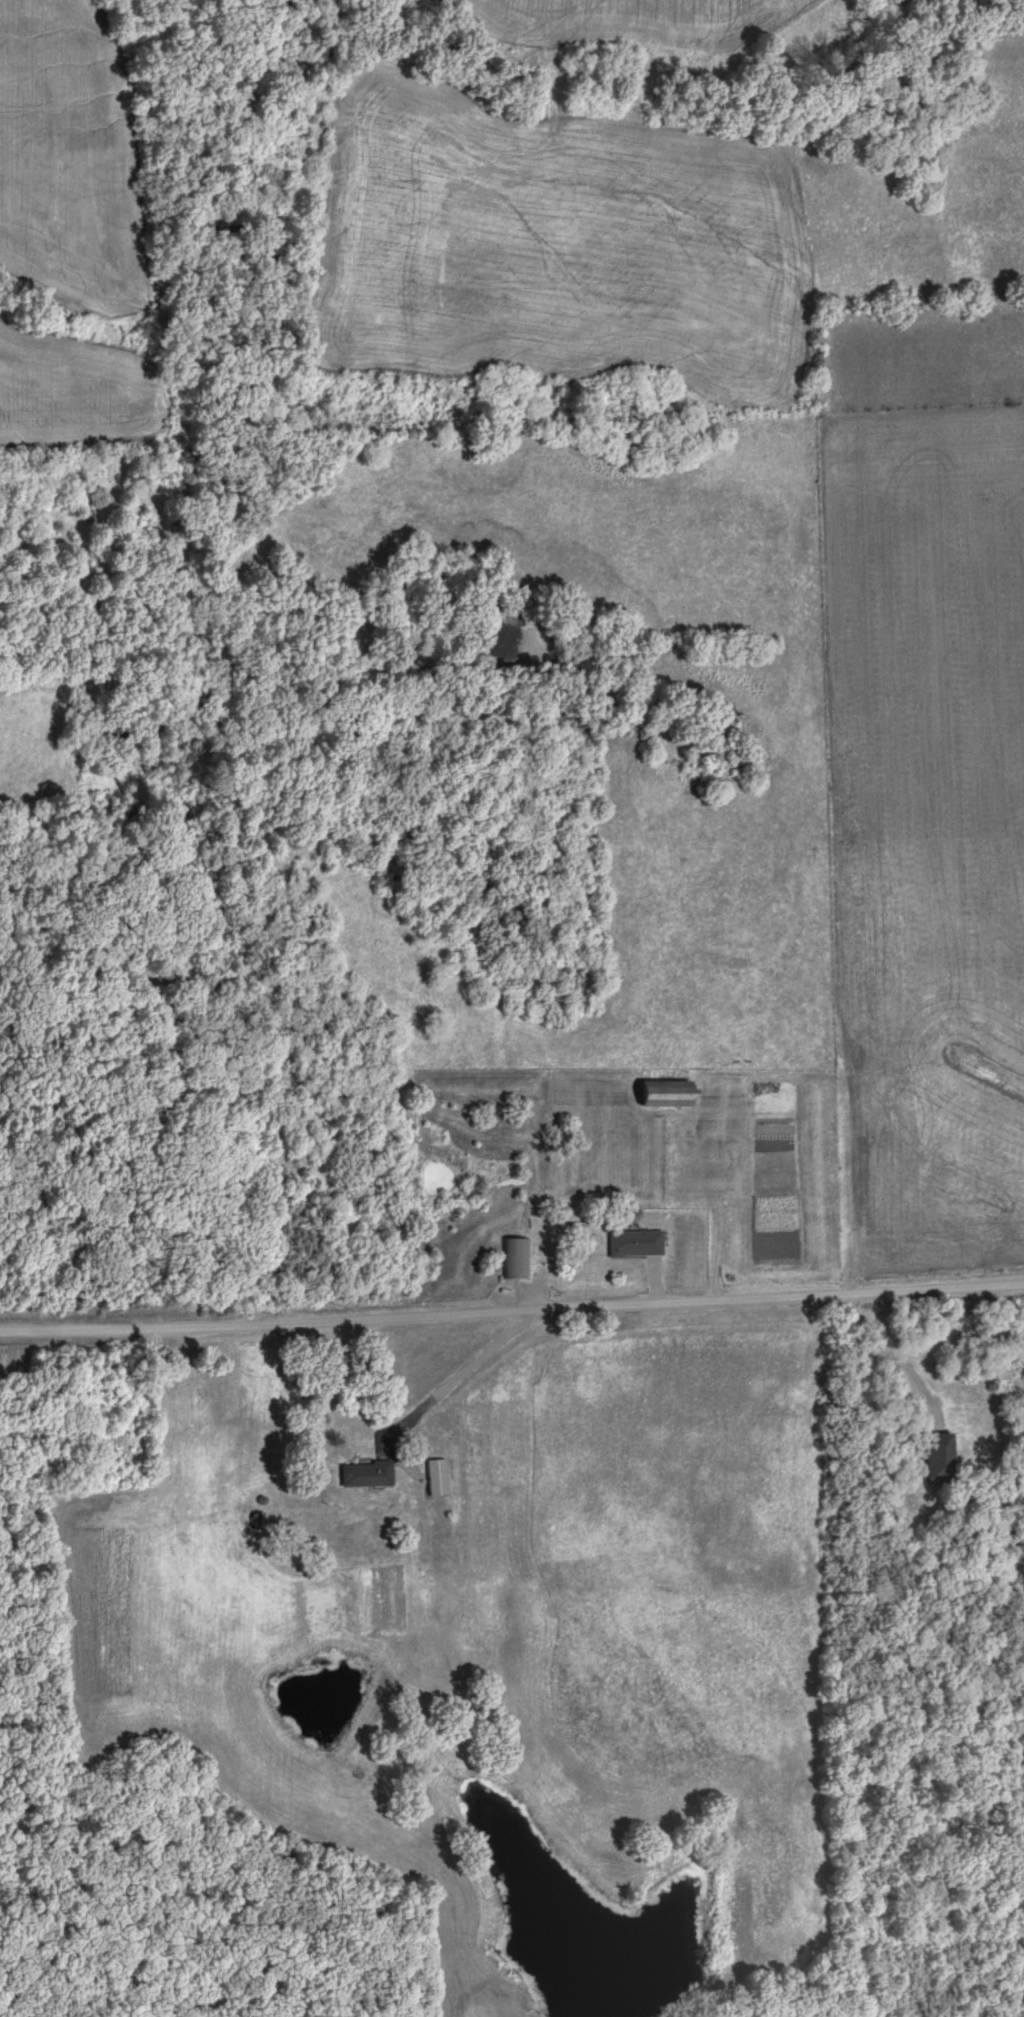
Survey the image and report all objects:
building: (671, 1093)
building: (637, 1243)
building: (515, 1258)
road: (512, 1311)
building: (942, 1459)
building: (368, 1475)
building: (439, 1477)

